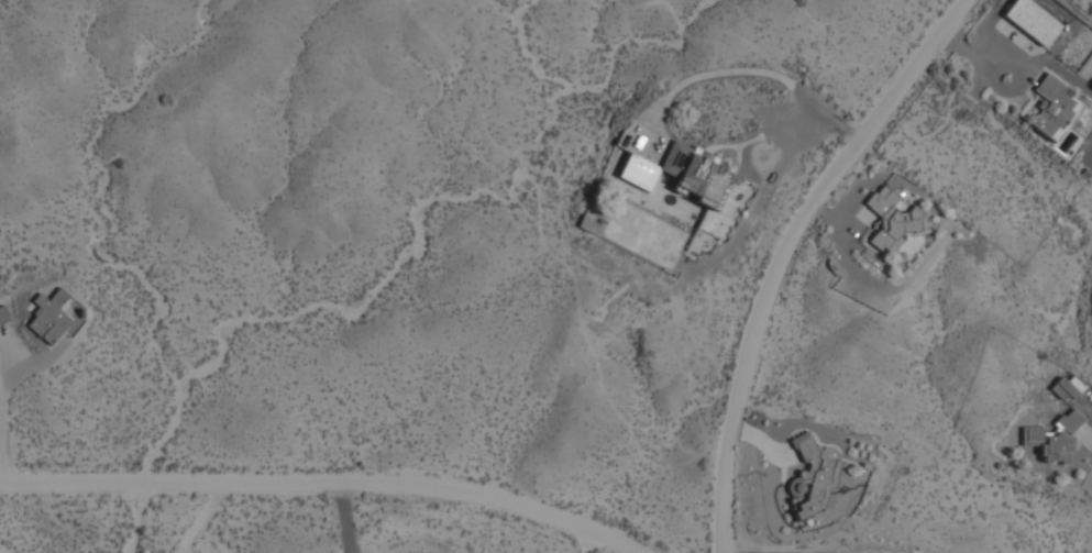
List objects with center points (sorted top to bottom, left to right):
building: (1033, 21)
building: (1054, 108)
building: (687, 181)
building: (892, 221)
road: (782, 251)
building: (3, 317)
building: (49, 319)
building: (1054, 441)
building: (813, 478)
road: (328, 485)

